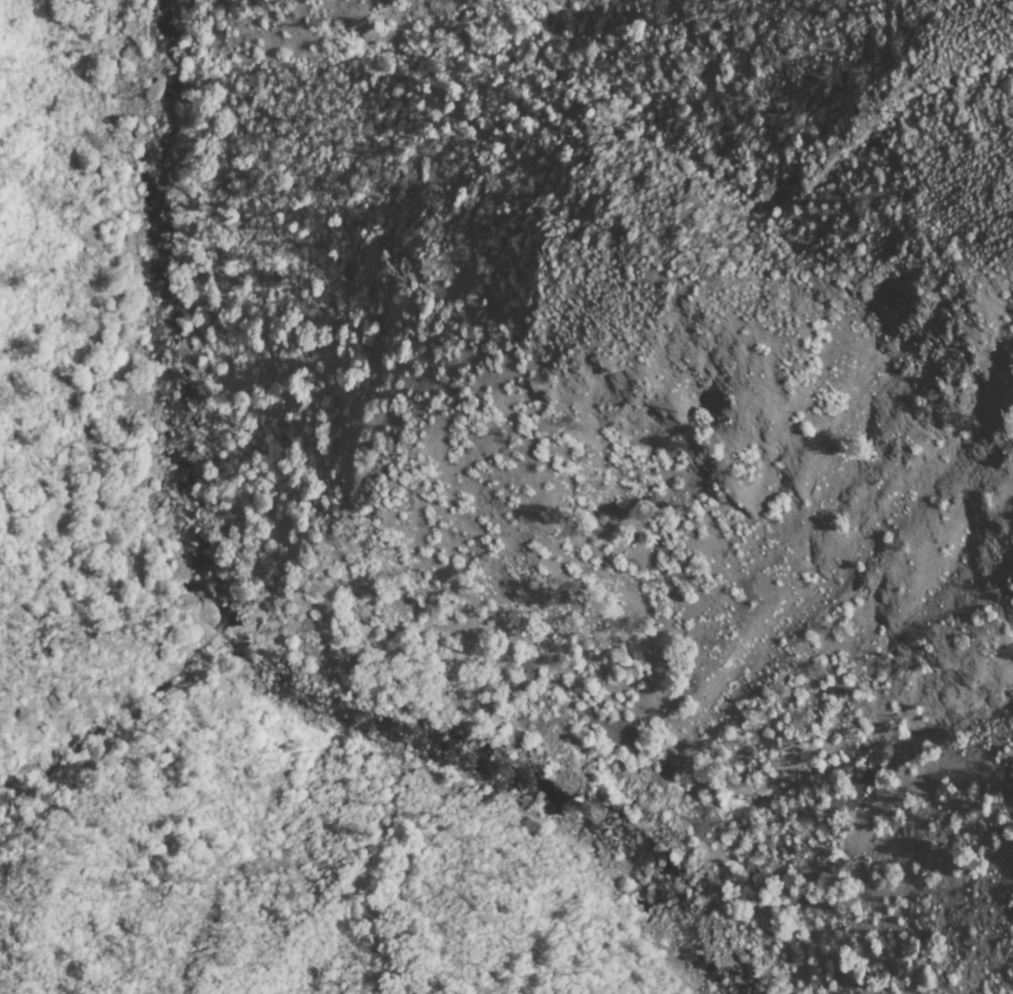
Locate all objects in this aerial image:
river: (239, 622)

